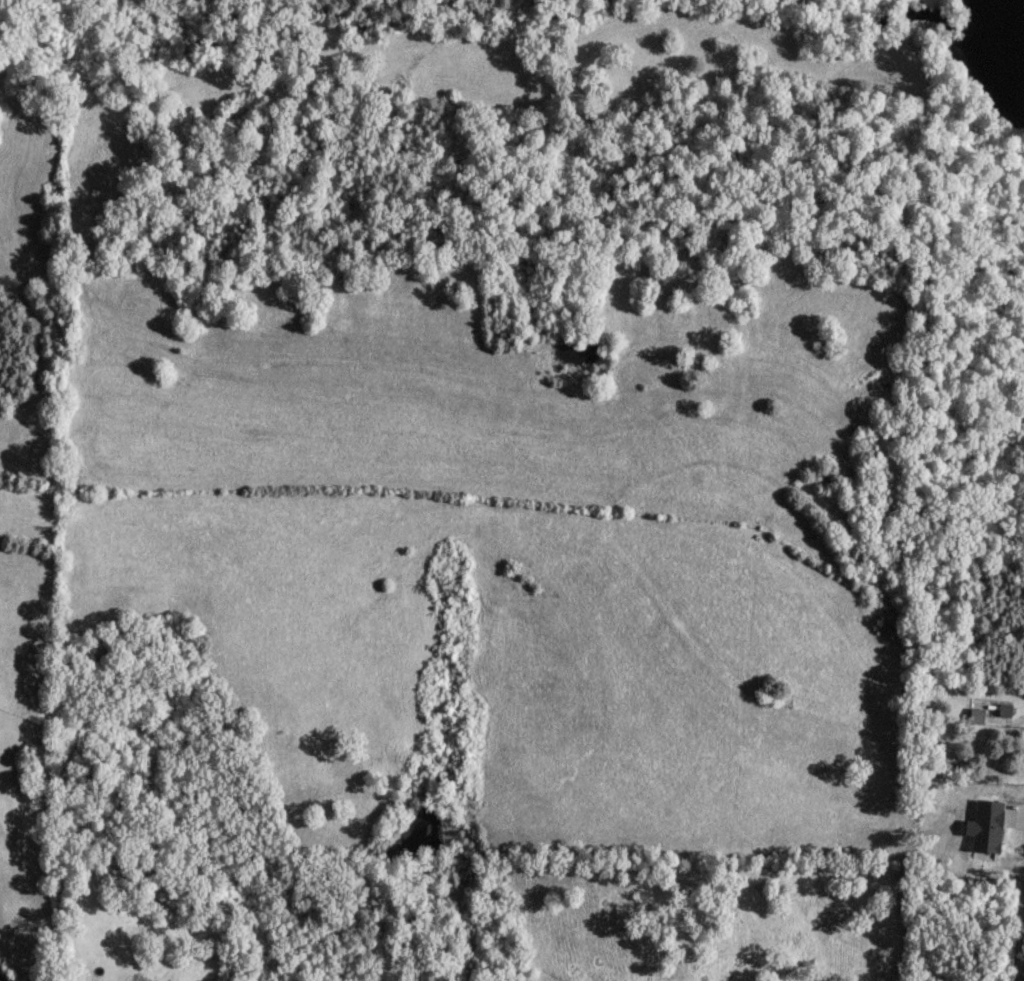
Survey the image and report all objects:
building: (1004, 708)
road: (1019, 936)

